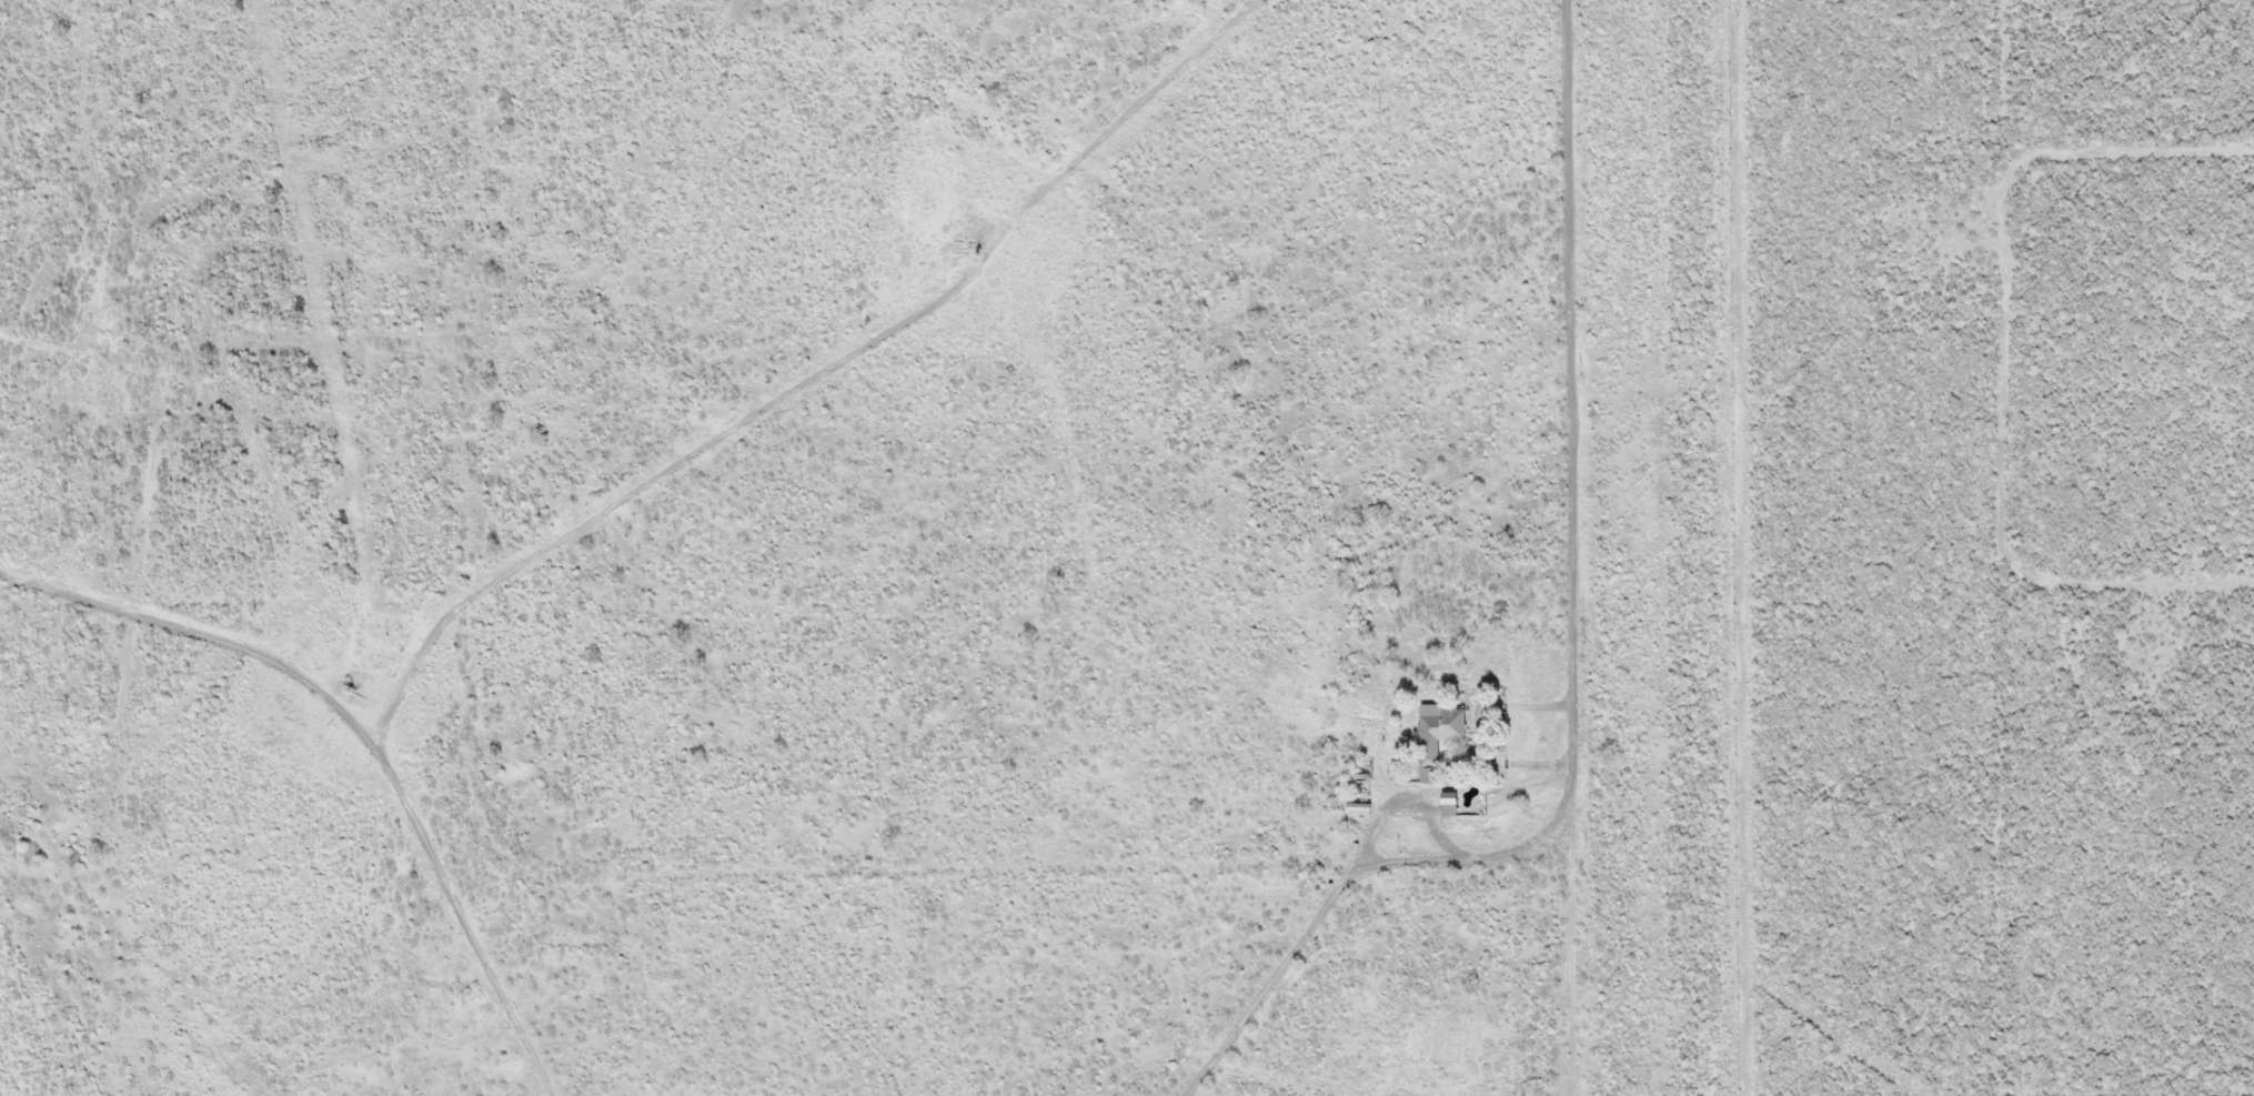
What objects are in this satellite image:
road: (1569, 385)
building: (1437, 736)
building: (1450, 804)

